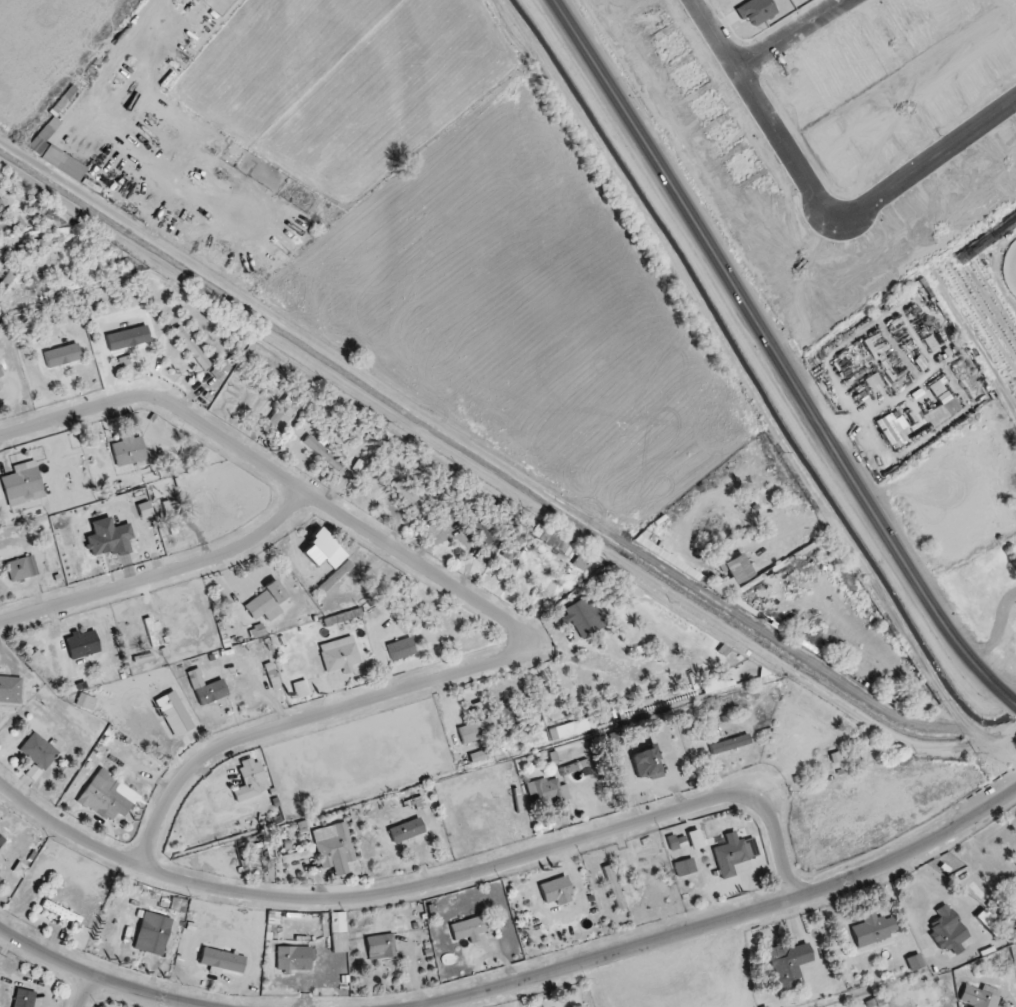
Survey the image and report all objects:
road: (109, 65)
building: (43, 134)
building: (62, 163)
building: (8, 277)
building: (190, 348)
building: (61, 356)
road: (778, 357)
building: (0, 375)
building: (943, 397)
building: (277, 413)
building: (891, 428)
building: (127, 450)
building: (321, 453)
road: (276, 474)
building: (21, 485)
building: (405, 495)
building: (478, 525)
building: (107, 538)
building: (555, 542)
building: (511, 548)
building: (322, 551)
building: (581, 560)
building: (20, 568)
road: (161, 575)
building: (732, 575)
building: (335, 576)
building: (264, 600)
building: (583, 617)
building: (81, 644)
building: (400, 648)
building: (338, 655)
building: (712, 683)
building: (205, 688)
building: (889, 688)
building: (9, 689)
building: (299, 689)
building: (84, 701)
road: (1015, 702)
building: (173, 713)
road: (301, 720)
building: (572, 728)
building: (479, 730)
building: (729, 744)
building: (38, 751)
building: (478, 756)
building: (645, 764)
building: (250, 780)
building: (545, 793)
building: (104, 796)
park: (884, 813)
building: (405, 830)
building: (333, 847)
building: (733, 853)
building: (684, 867)
road: (427, 886)
building: (555, 891)
road: (724, 920)
building: (987, 922)
building: (337, 929)
building: (468, 929)
building: (871, 929)
building: (939, 929)
building: (152, 933)
building: (380, 945)
building: (221, 960)
building: (913, 962)
building: (787, 963)
road: (99, 978)
road: (85, 991)
building: (978, 996)
building: (23, 998)
building: (544, 1006)

